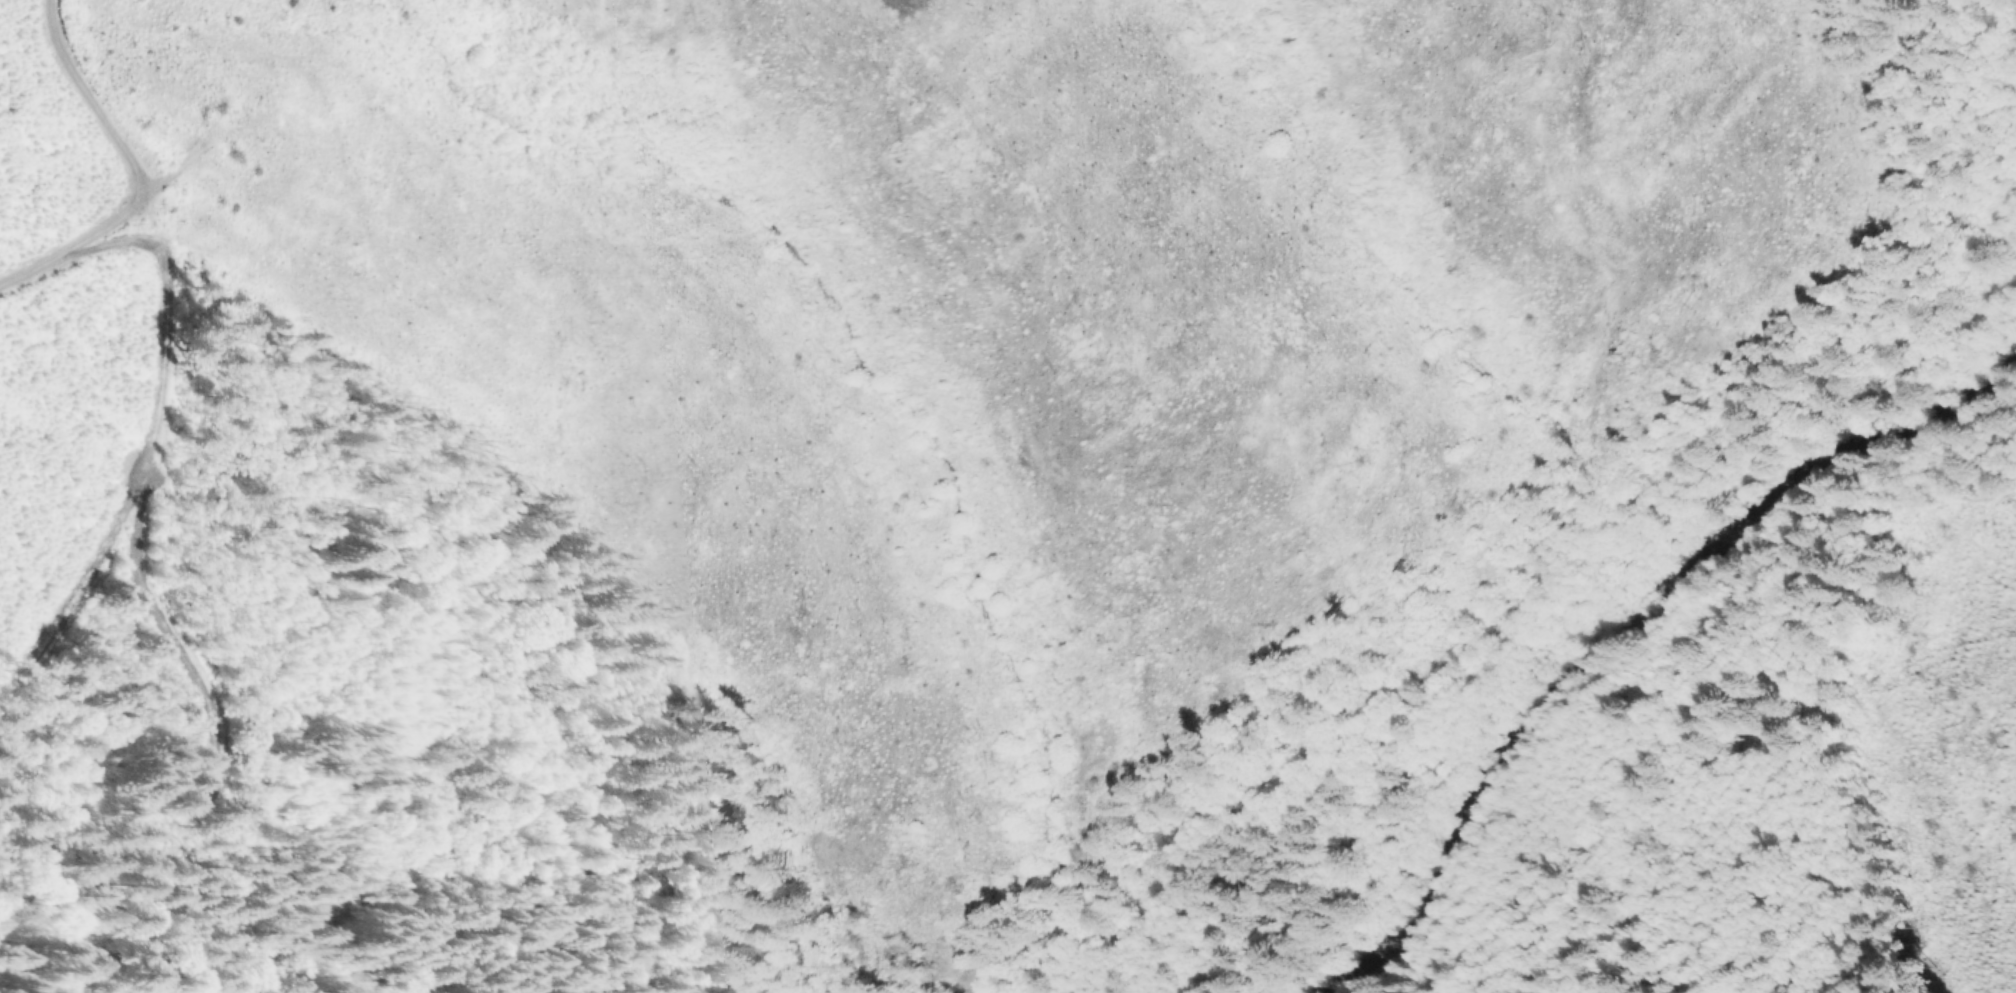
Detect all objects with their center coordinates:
road: (111, 134)
road: (158, 391)
road: (205, 698)

